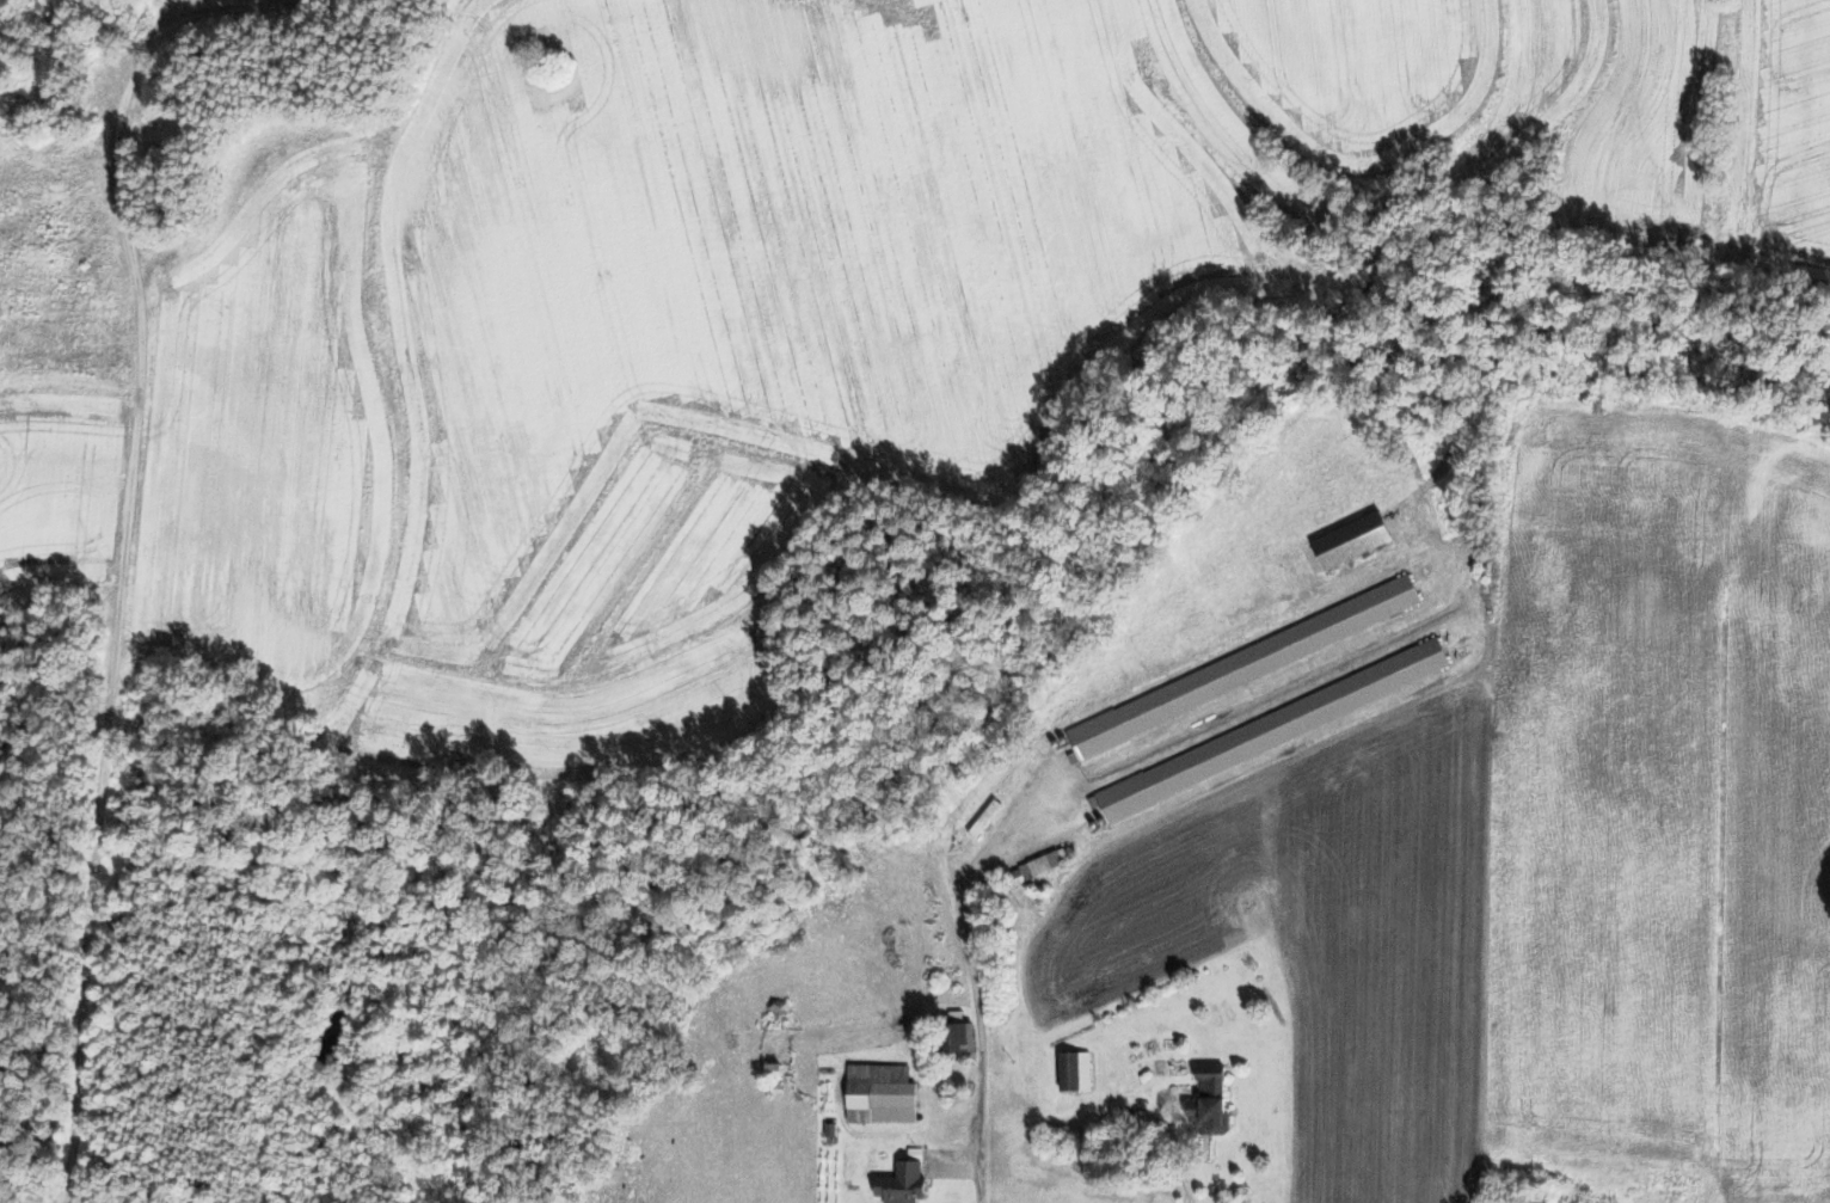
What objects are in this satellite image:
building: (1355, 540)
road: (124, 544)
building: (1271, 730)
building: (1038, 866)
road: (972, 982)
building: (962, 1038)
building: (775, 1072)
building: (1076, 1072)
building: (882, 1094)
building: (1211, 1105)
building: (903, 1184)
road: (1185, 1190)

